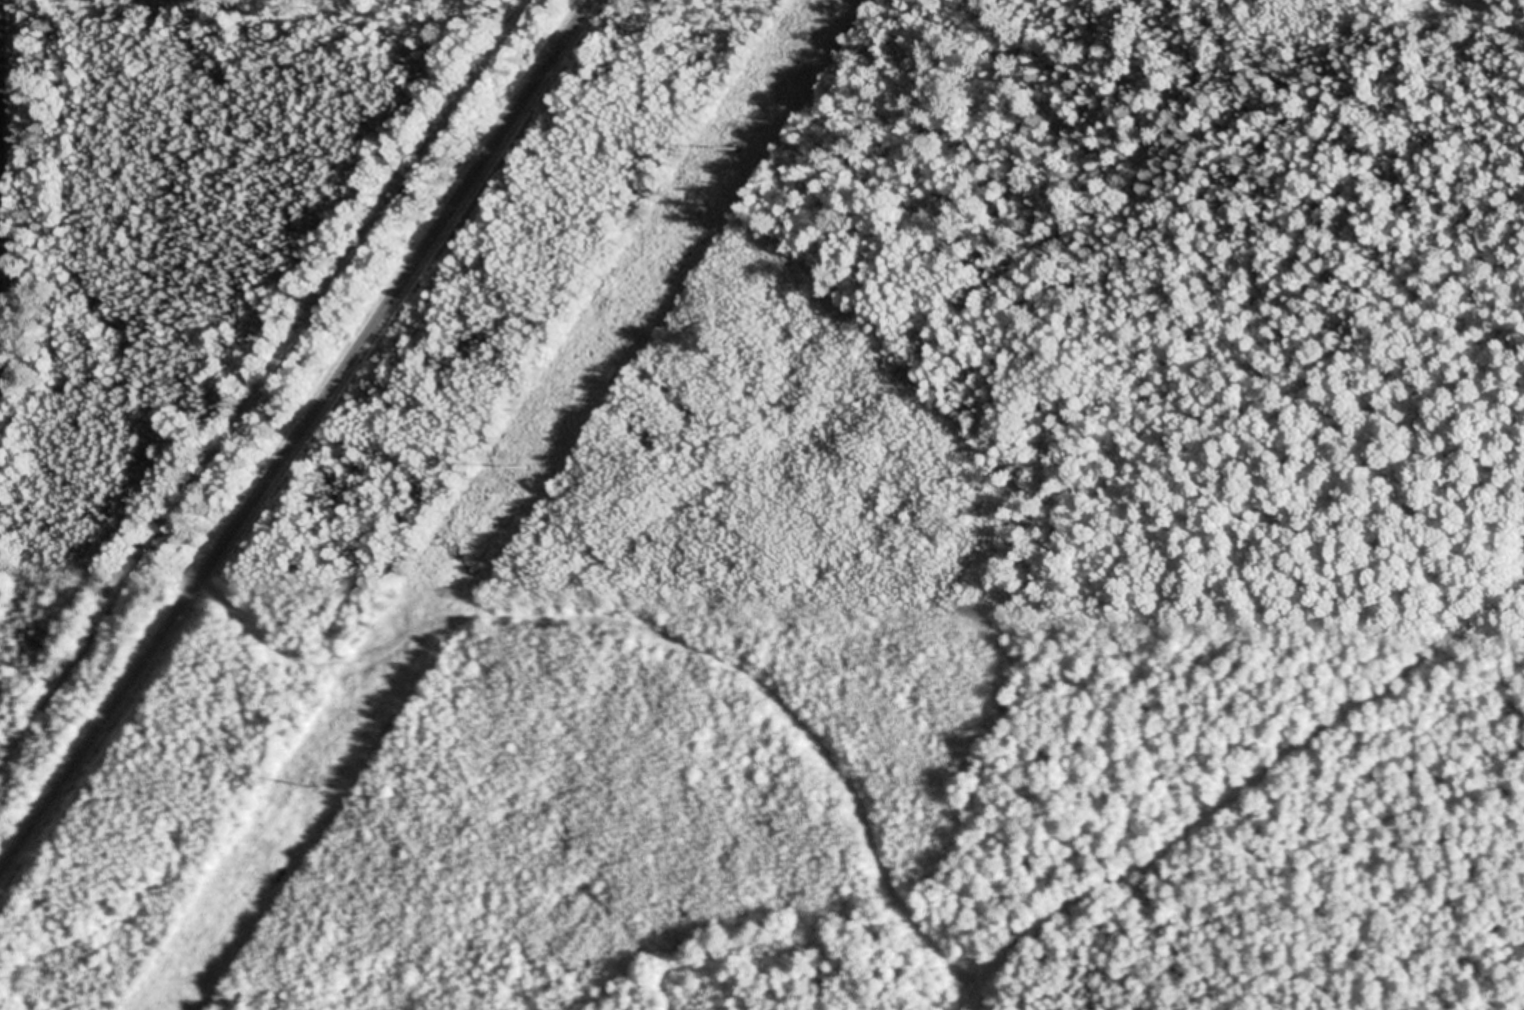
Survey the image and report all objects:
power tower: (739, 149)
road: (294, 437)
power tower: (527, 469)
road: (649, 631)
road: (1234, 782)
power tower: (316, 789)

